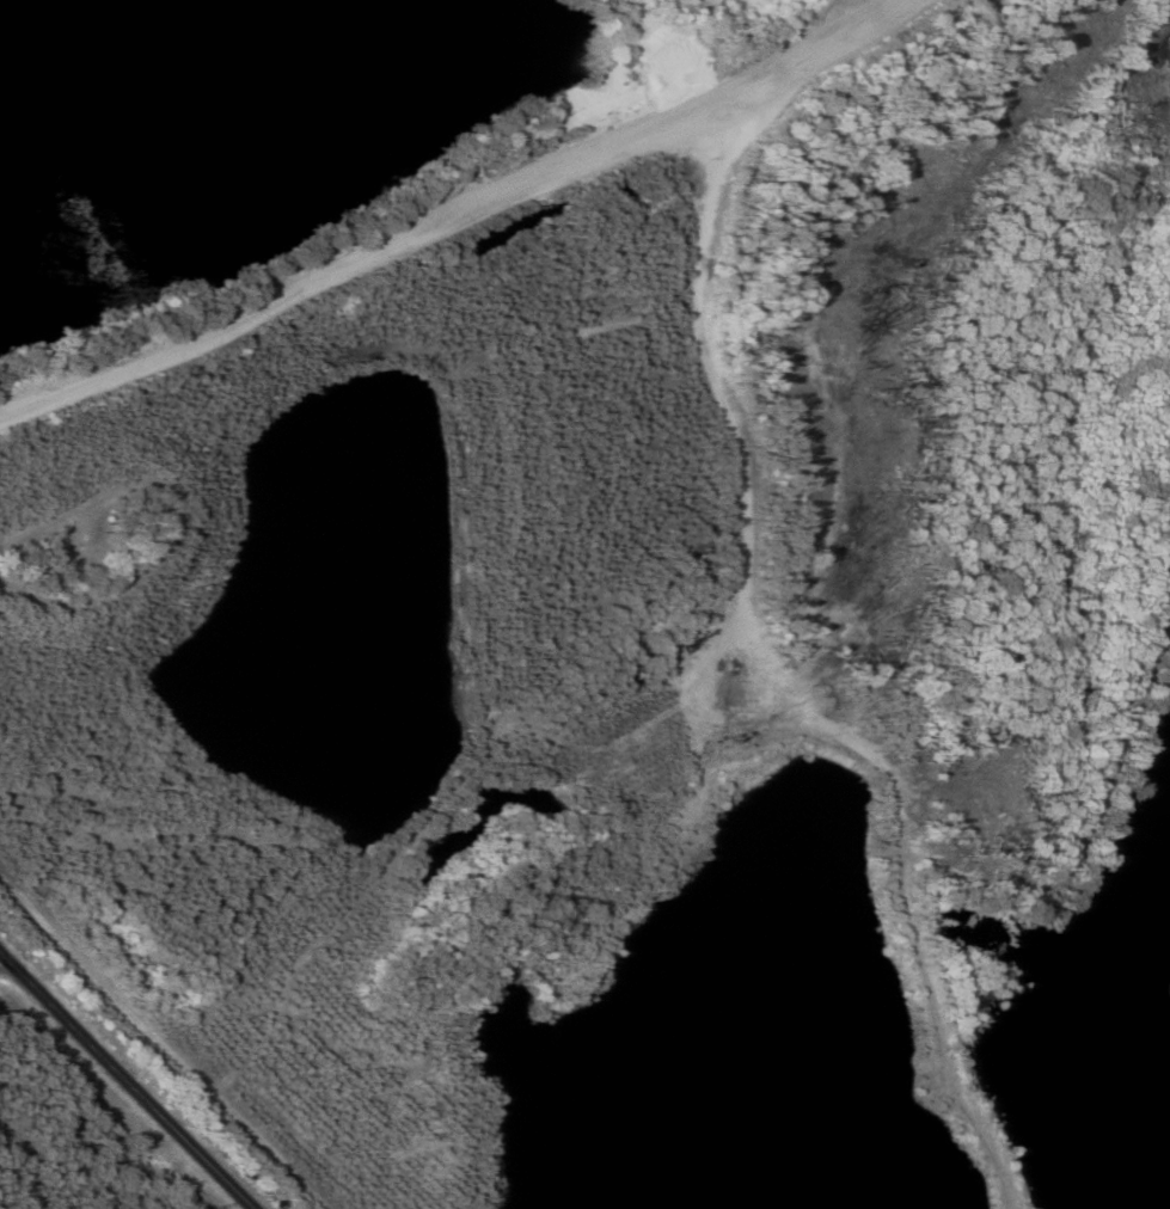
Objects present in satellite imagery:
road: (451, 216)
road: (127, 1080)

